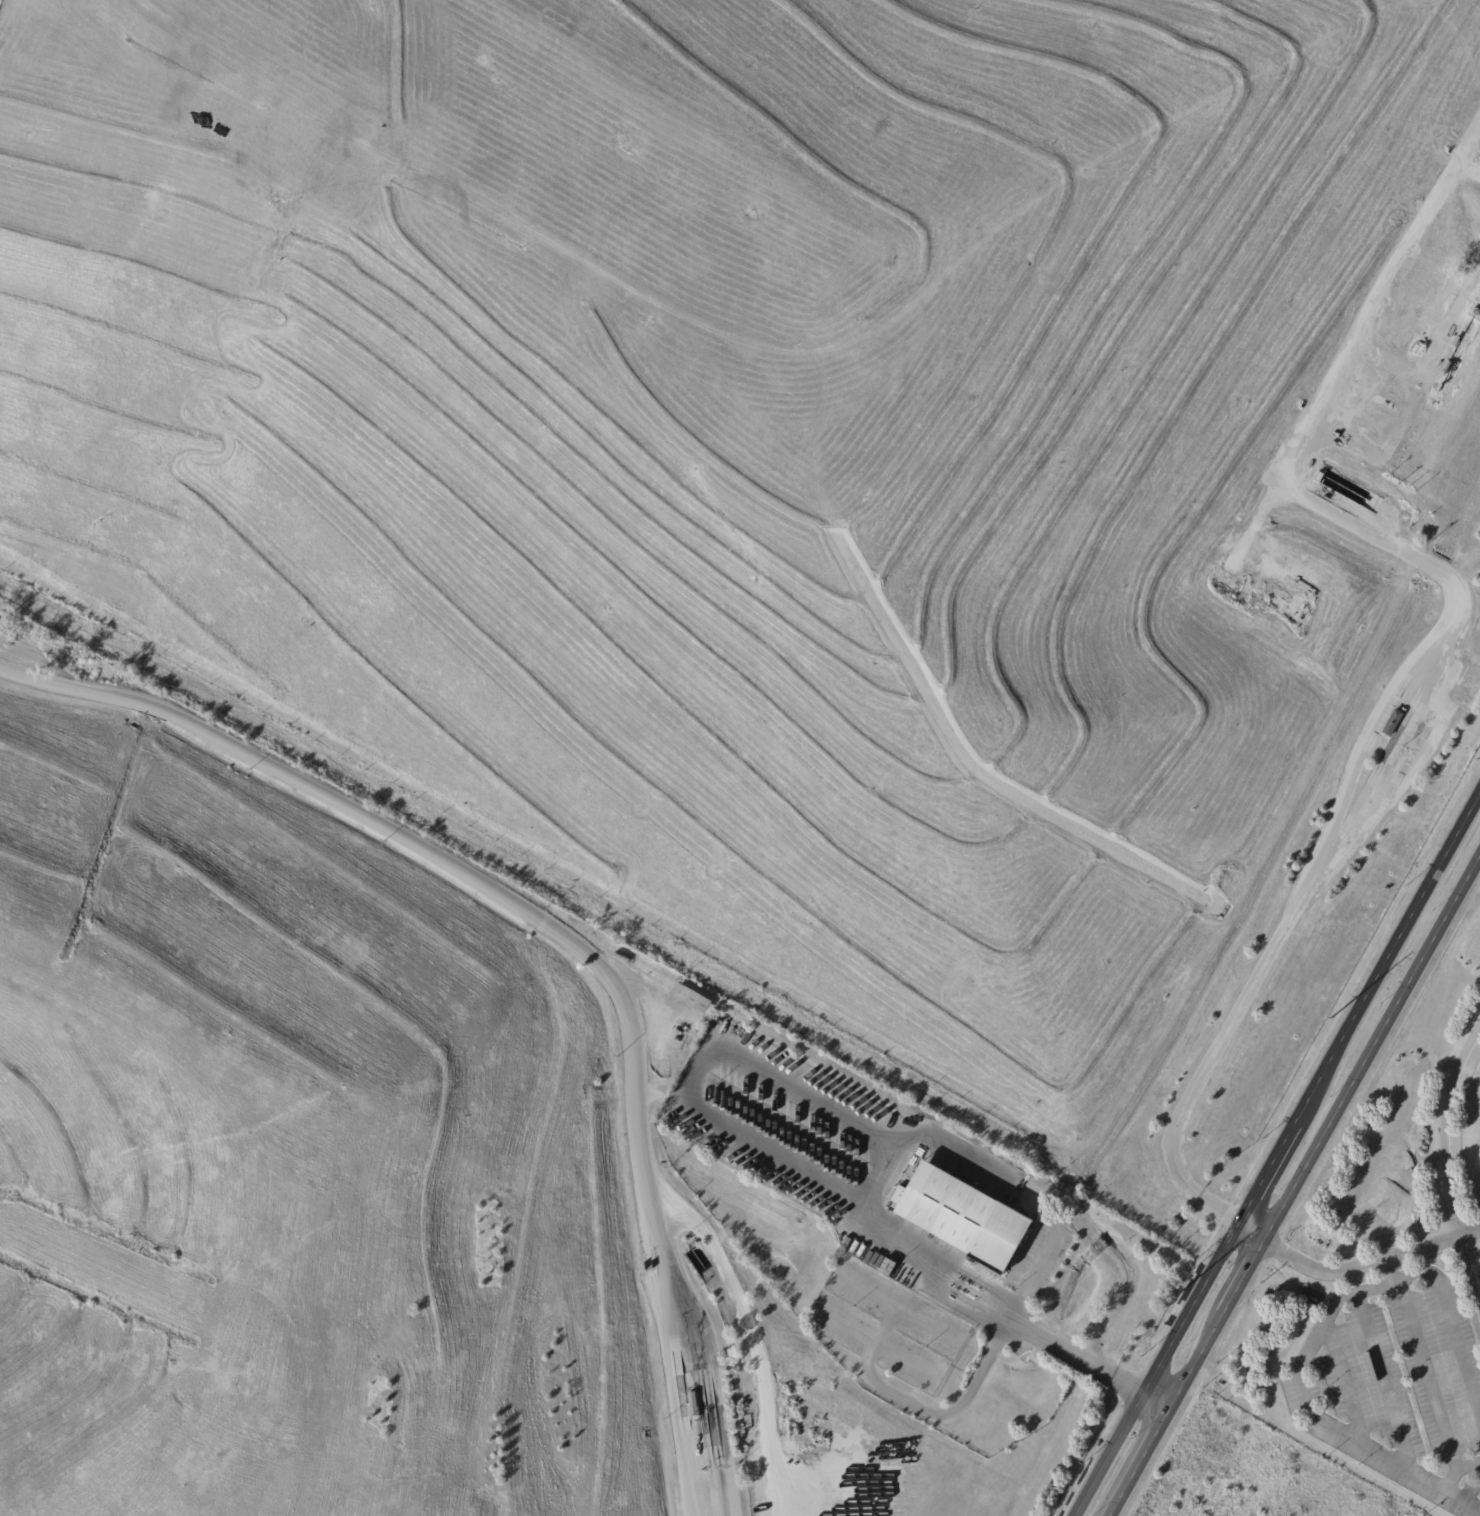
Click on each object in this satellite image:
building: (1422, 292)
building: (1454, 341)
building: (1446, 368)
landfill: (747, 447)
building: (1319, 477)
building: (1234, 596)
building: (1272, 603)
building: (1469, 690)
building: (1391, 724)
building: (1389, 745)
road: (1415, 770)
road: (561, 928)
building: (687, 998)
road: (717, 1120)
road: (952, 1142)
road: (1478, 1142)
road: (1441, 1149)
road: (1274, 1150)
landfill: (304, 1159)
road: (1295, 1185)
building: (963, 1218)
road: (1250, 1231)
building: (847, 1243)
building: (693, 1245)
road: (1370, 1266)
building: (888, 1268)
road: (1031, 1329)
road: (1155, 1400)
building: (696, 1403)
road: (1388, 1410)
road: (924, 1413)

